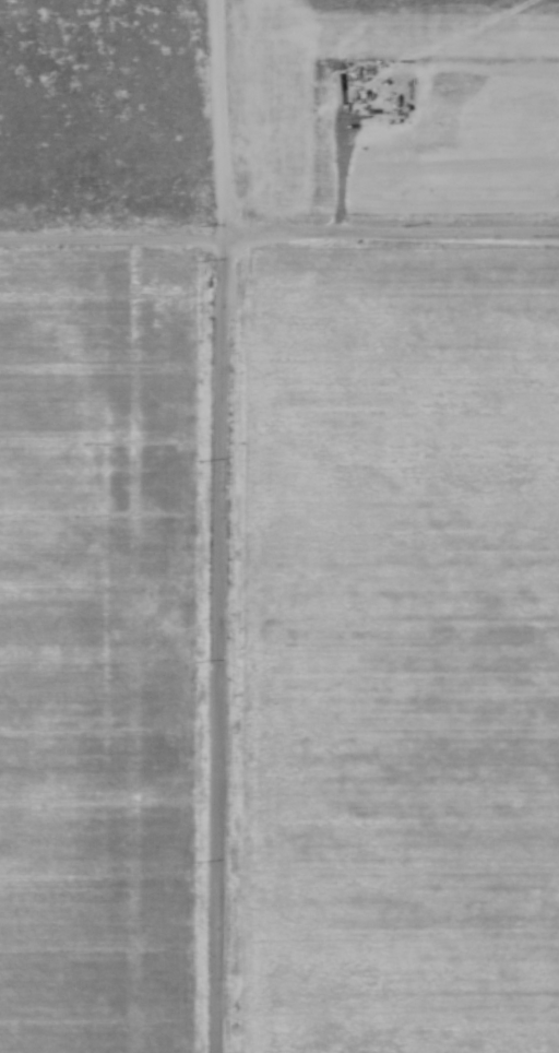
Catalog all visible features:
road: (389, 244)
road: (109, 246)
road: (216, 649)
crop: (390, 653)
crop: (100, 655)

